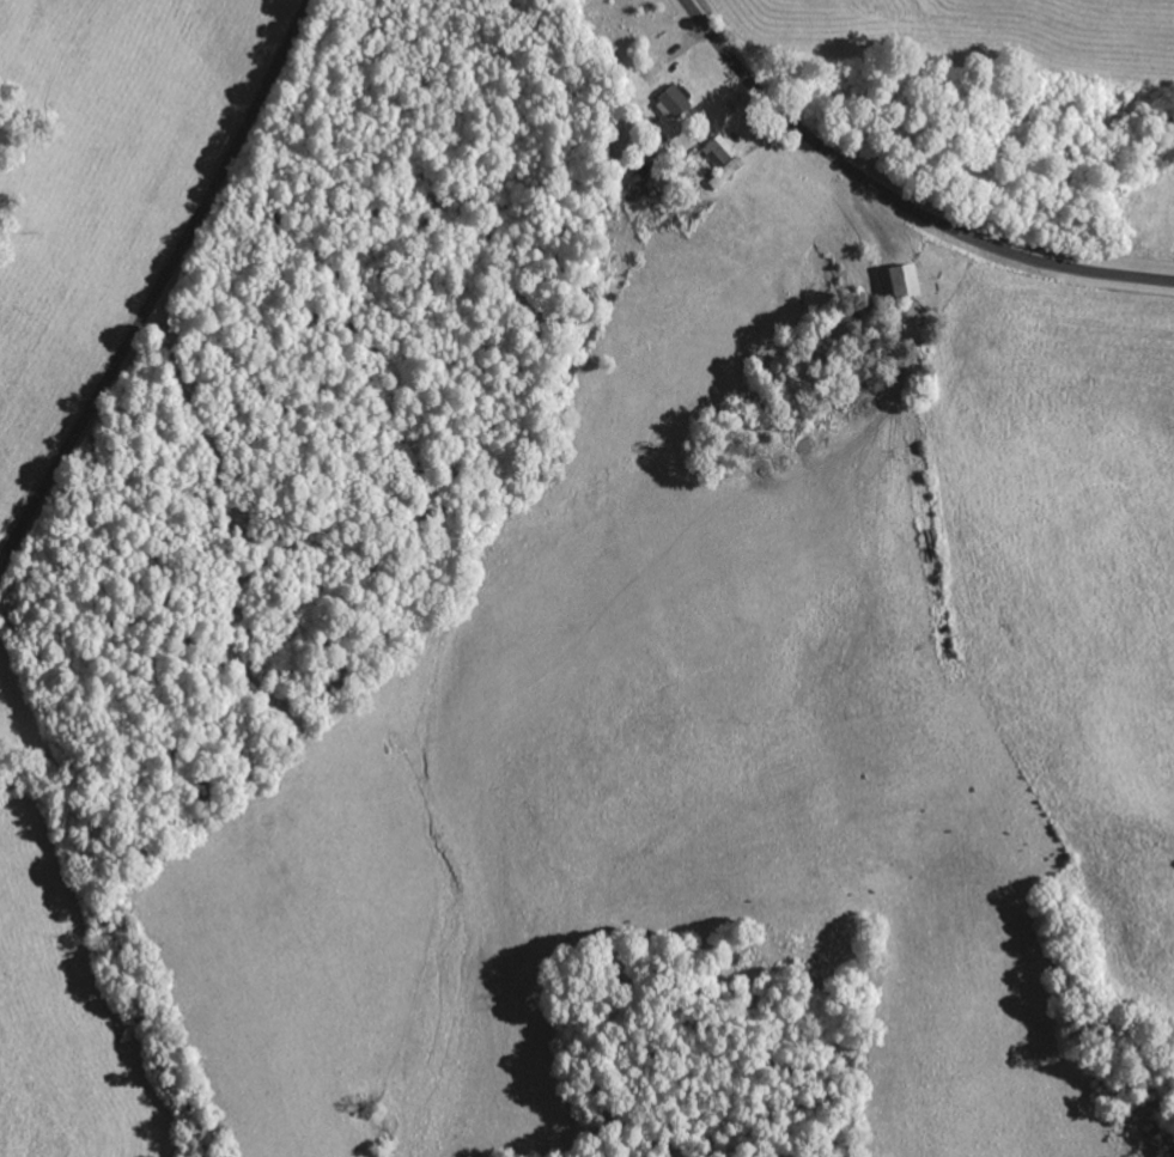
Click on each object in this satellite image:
building: (668, 102)
building: (718, 162)
road: (894, 201)
building: (896, 282)
road: (163, 291)

